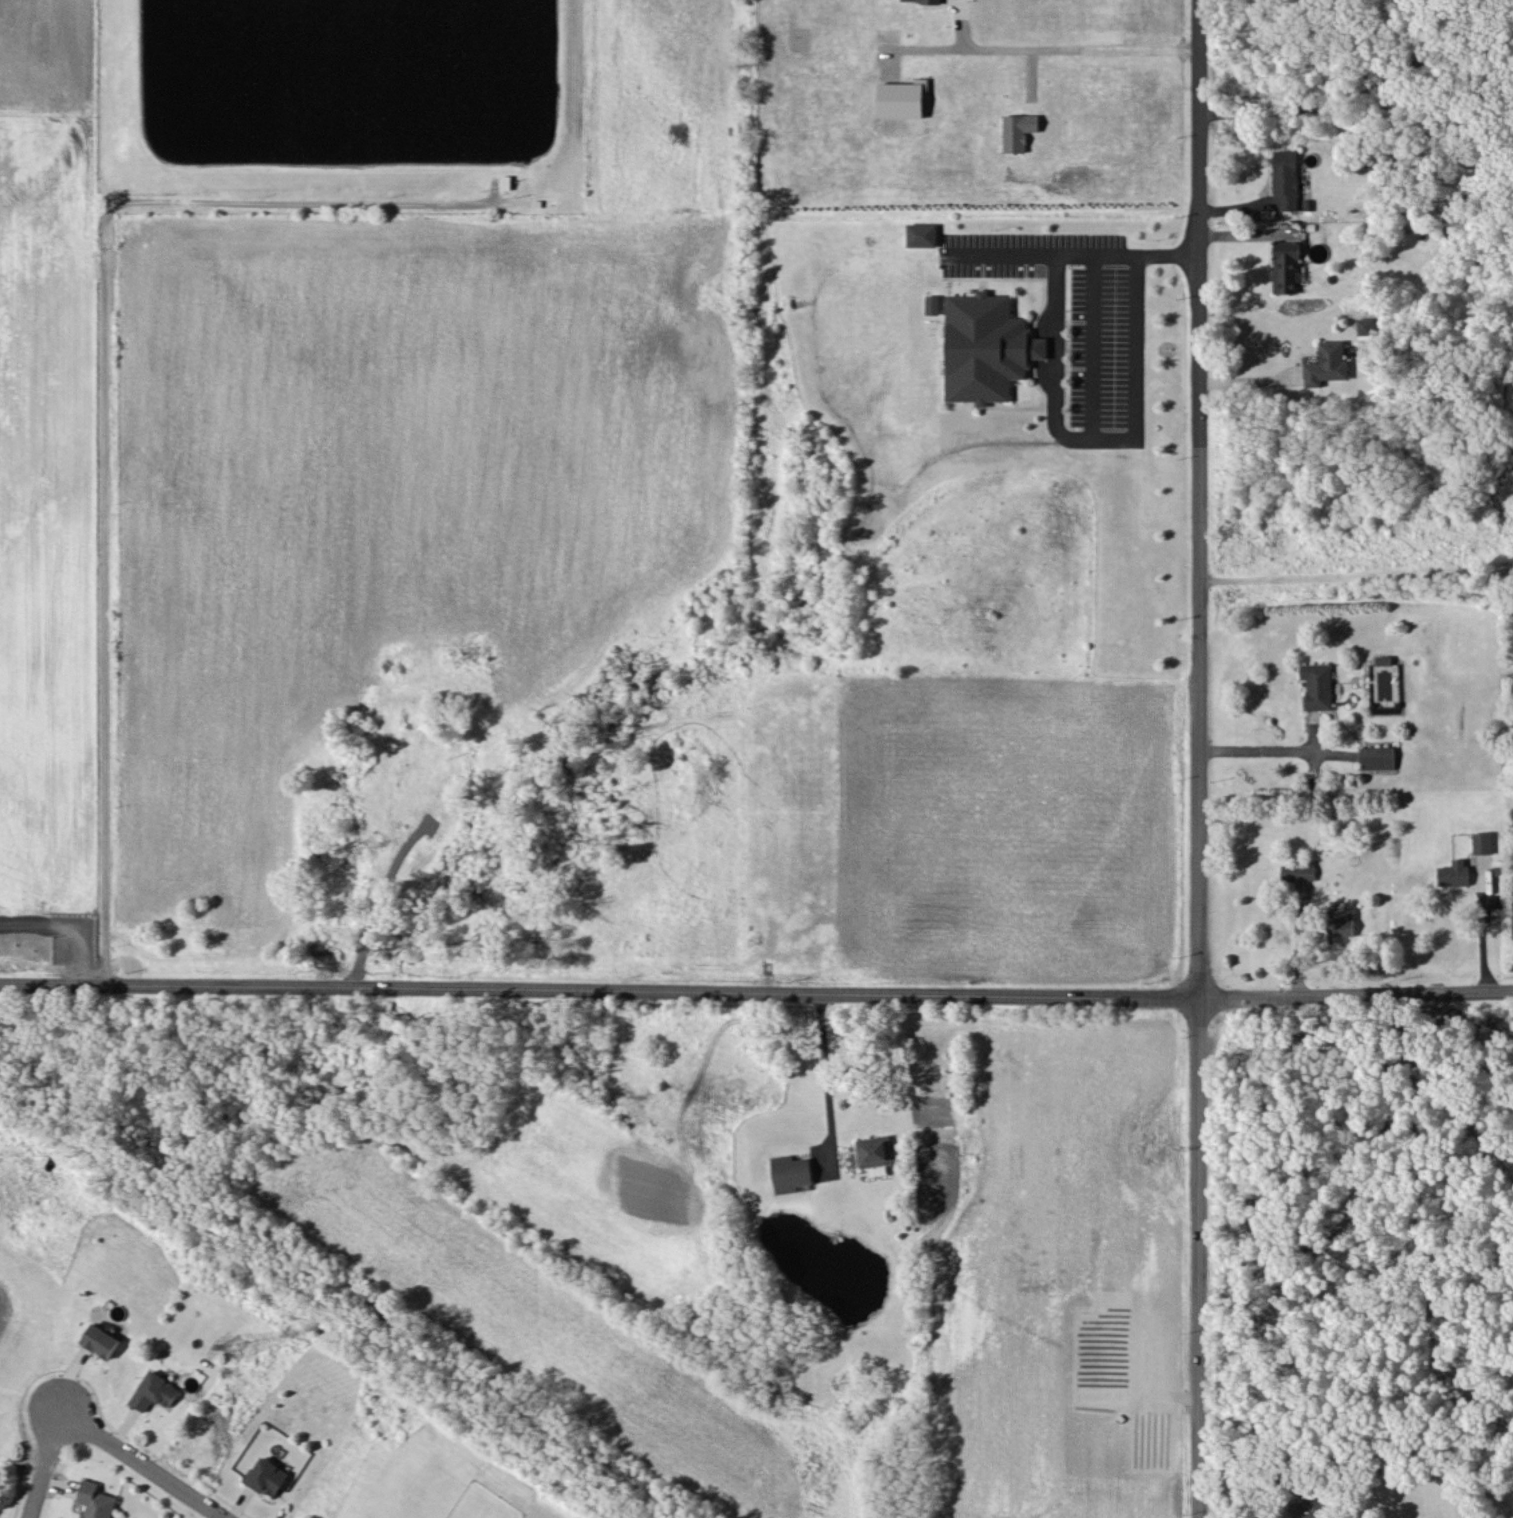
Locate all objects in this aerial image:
building: (930, 1)
road: (1059, 44)
road: (1360, 90)
building: (902, 99)
building: (1018, 131)
building: (1286, 178)
building: (508, 182)
building: (922, 235)
road: (1073, 254)
building: (1285, 267)
building: (933, 304)
building: (1365, 328)
building: (986, 347)
road: (1091, 347)
building: (1327, 364)
road: (102, 408)
road: (1097, 440)
road: (1358, 571)
building: (1317, 686)
road: (1259, 747)
building: (1378, 757)
road: (1199, 758)
building: (1482, 842)
building: (1298, 871)
building: (1453, 873)
building: (1342, 926)
road: (63, 927)
road: (756, 992)
road: (827, 1077)
building: (874, 1151)
building: (791, 1173)
power tower: (234, 1339)
building: (100, 1340)
building: (154, 1391)
road: (44, 1463)
road: (144, 1463)
building: (266, 1476)
building: (95, 1501)
building: (1311, 1503)

